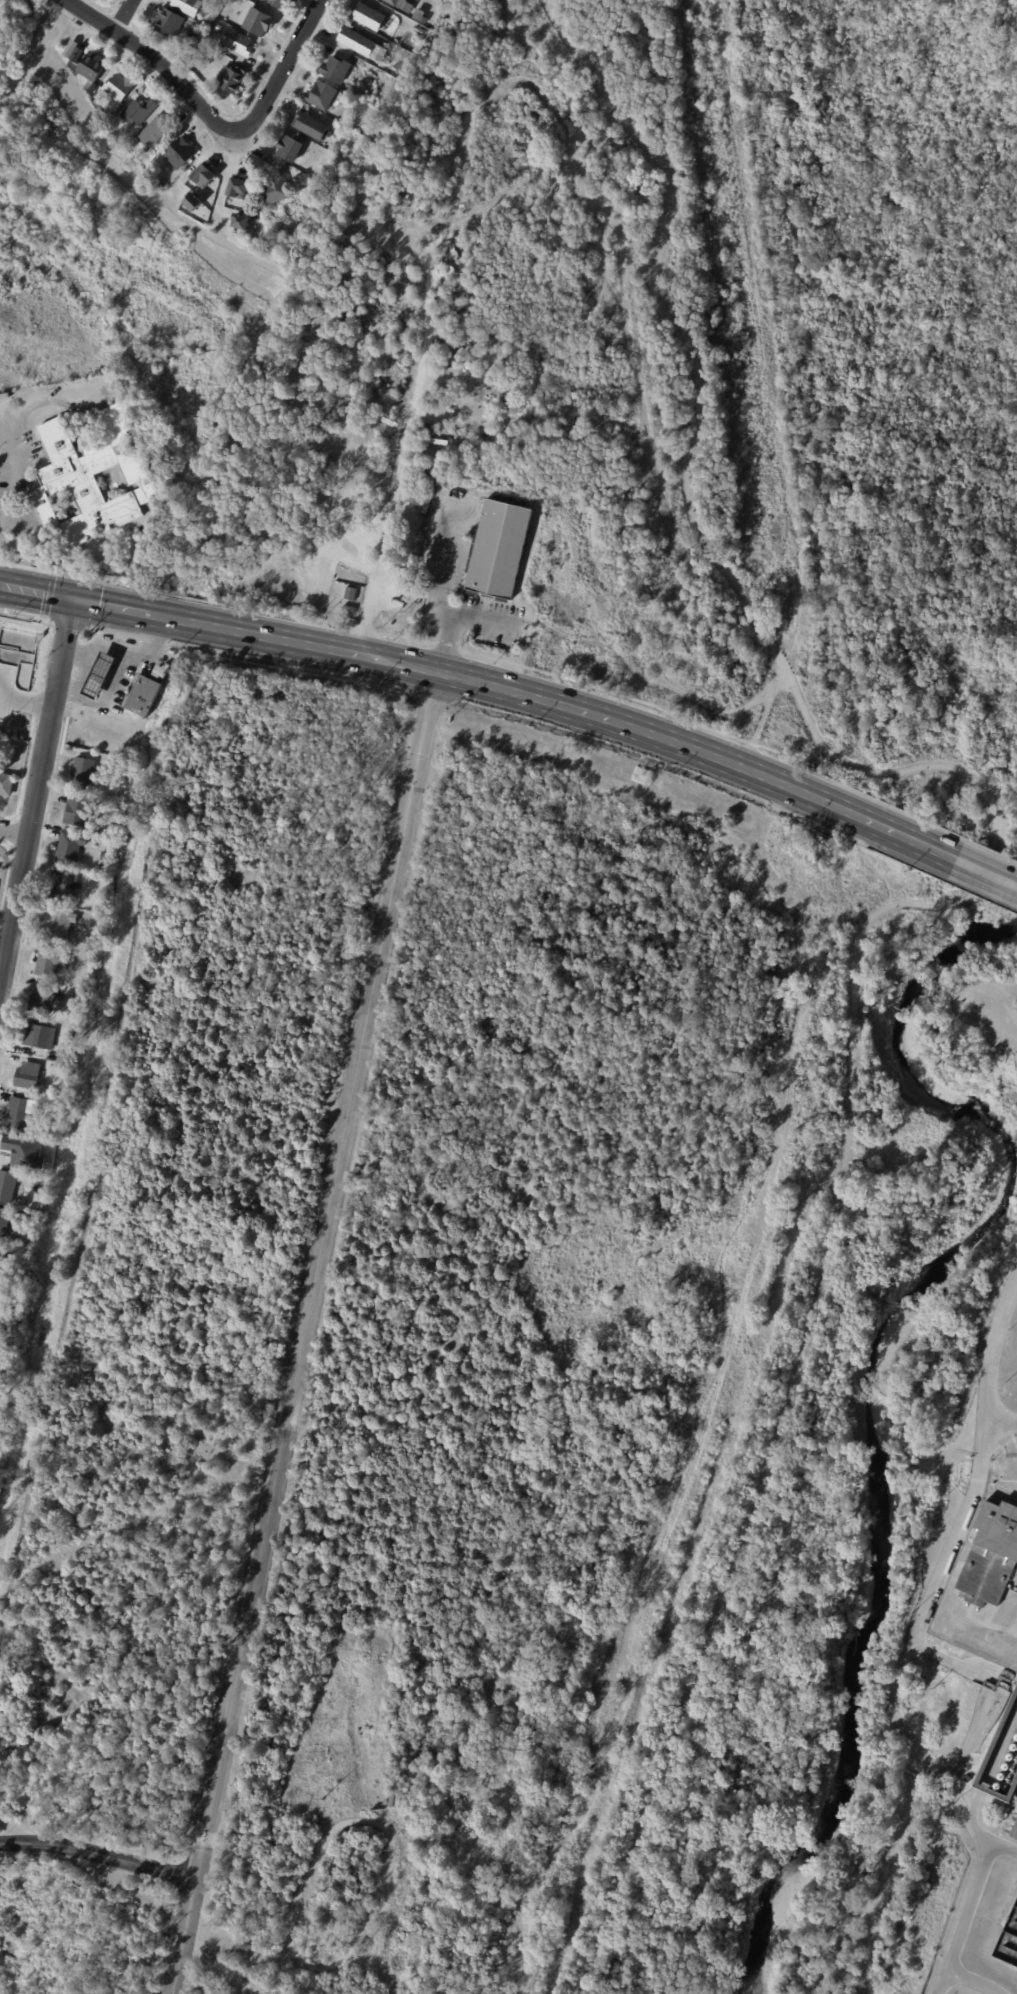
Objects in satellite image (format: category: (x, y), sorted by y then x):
building: (278, 3)
building: (399, 3)
building: (188, 6)
road: (125, 12)
building: (369, 16)
building: (5, 17)
building: (419, 17)
building: (208, 21)
building: (169, 22)
building: (259, 22)
building: (219, 28)
building: (420, 31)
building: (190, 36)
building: (238, 42)
building: (362, 44)
building: (77, 55)
road: (163, 60)
building: (199, 63)
building: (92, 66)
road: (282, 68)
building: (336, 69)
building: (397, 70)
building: (232, 78)
building: (368, 81)
building: (119, 87)
building: (321, 95)
building: (97, 101)
building: (139, 112)
building: (310, 126)
building: (155, 130)
building: (290, 148)
building: (180, 152)
building: (142, 163)
building: (204, 176)
building: (162, 185)
building: (239, 188)
building: (277, 189)
building: (193, 202)
building: (241, 222)
road: (768, 387)
road: (19, 475)
building: (92, 477)
road: (387, 516)
road: (1, 524)
building: (500, 548)
road: (439, 589)
road: (35, 590)
traffic signals: (70, 597)
road: (114, 605)
road: (157, 625)
road: (168, 645)
road: (146, 649)
road: (70, 650)
building: (102, 663)
gas station: (102, 663)
road: (120, 667)
road: (77, 668)
road: (65, 682)
road: (495, 682)
building: (141, 691)
road: (20, 694)
building: (82, 773)
building: (640, 775)
building: (6, 784)
road: (36, 786)
building: (79, 809)
road: (888, 830)
road: (14, 831)
building: (69, 847)
building: (104, 856)
road: (987, 874)
building: (65, 888)
road: (891, 898)
road: (921, 904)
building: (59, 924)
building: (52, 961)
building: (44, 1002)
wastewater plant: (994, 1030)
building: (39, 1036)
building: (65, 1059)
building: (62, 1070)
building: (28, 1075)
building: (20, 1113)
building: (7, 1186)
building: (4, 1223)
building: (0, 1247)
building: (2, 1260)
building: (10, 1276)
road: (747, 1290)
road: (300, 1327)
building: (16, 1328)
road: (993, 1360)
road: (985, 1432)
building: (988, 1553)
road: (946, 1661)
wastewater plant: (973, 1663)
road: (903, 1673)
road: (971, 1739)
building: (1002, 1756)
road: (98, 1850)
road: (964, 1918)
road: (973, 1982)

